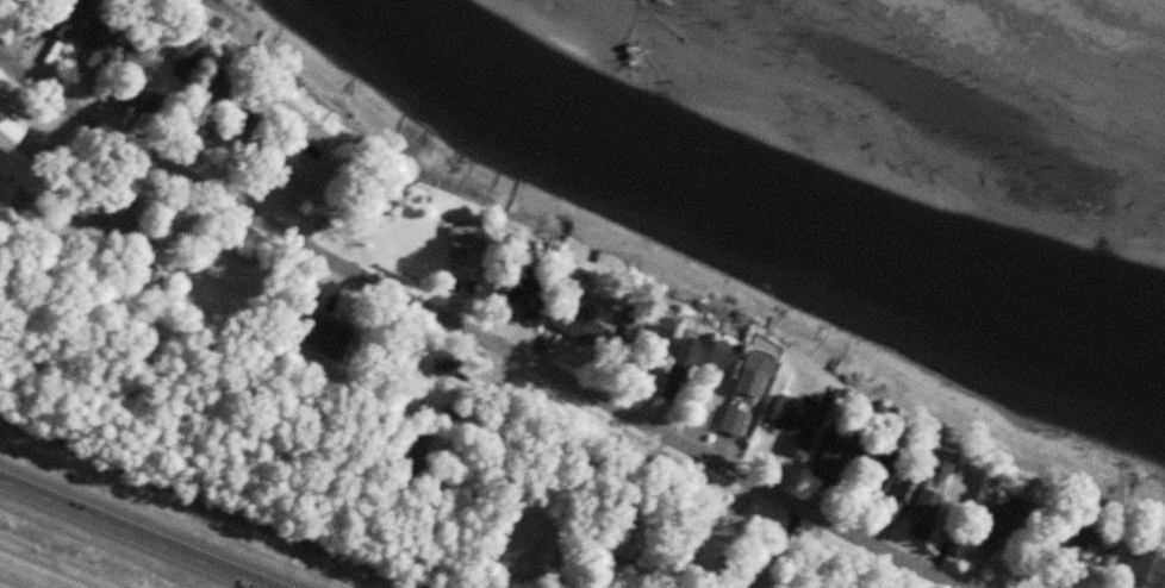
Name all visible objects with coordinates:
building: (76, 21)
building: (108, 39)
building: (150, 46)
building: (192, 55)
building: (12, 132)
building: (306, 159)
river: (753, 202)
building: (110, 218)
building: (182, 257)
building: (537, 296)
building: (609, 309)
building: (643, 315)
building: (674, 324)
road: (476, 333)
building: (332, 336)
building: (731, 356)
building: (687, 368)
building: (764, 374)
building: (740, 419)
building: (805, 423)
road: (504, 448)
building: (854, 448)
building: (899, 468)
building: (940, 489)
road: (138, 531)
building: (1091, 542)
building: (1150, 565)
road: (29, 575)

